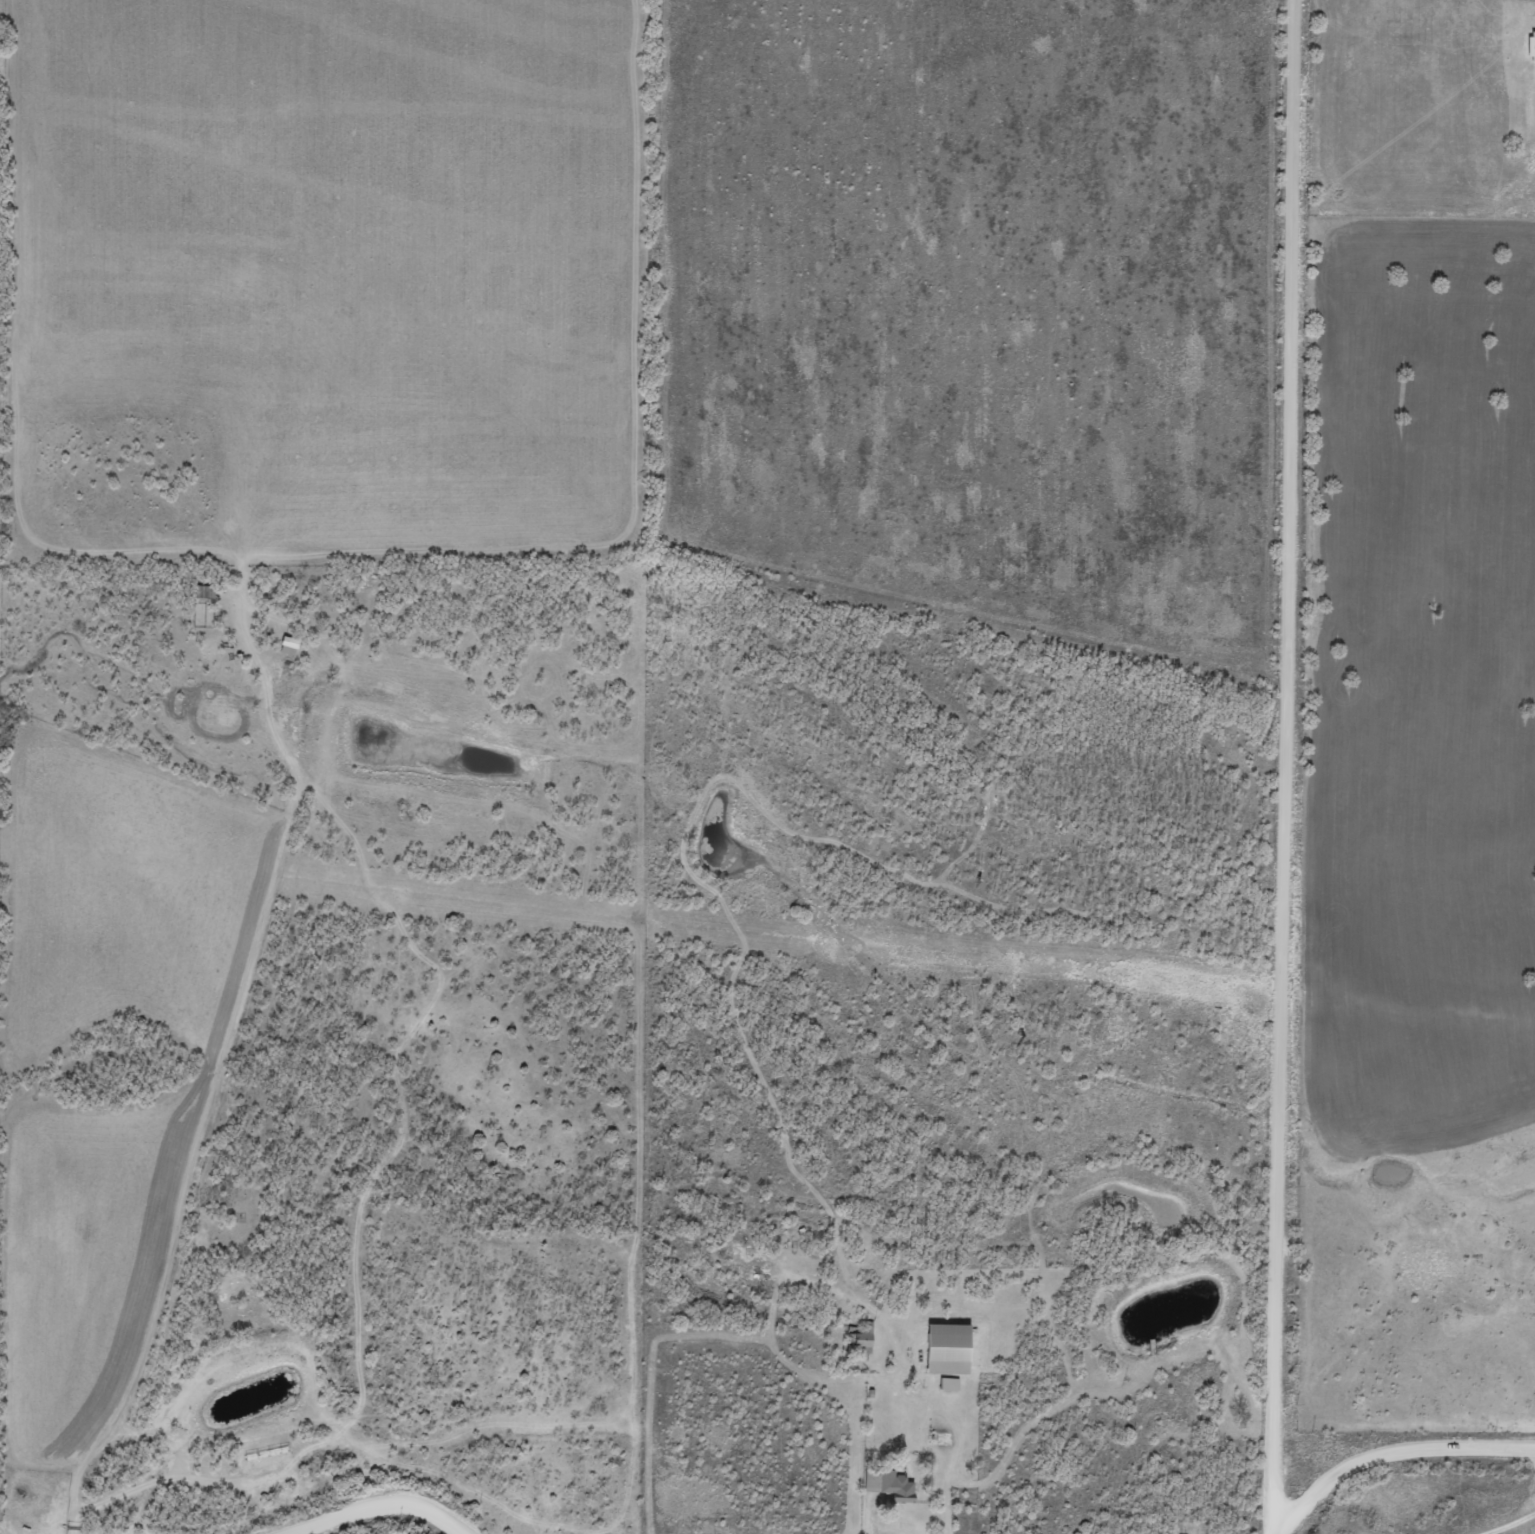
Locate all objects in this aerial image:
building: (203, 592)
building: (287, 645)
road: (1259, 705)
building: (860, 1338)
building: (946, 1348)
building: (936, 1438)
road: (1396, 1440)
road: (1254, 1472)
building: (890, 1486)
road: (1393, 1499)
road: (1363, 1511)

